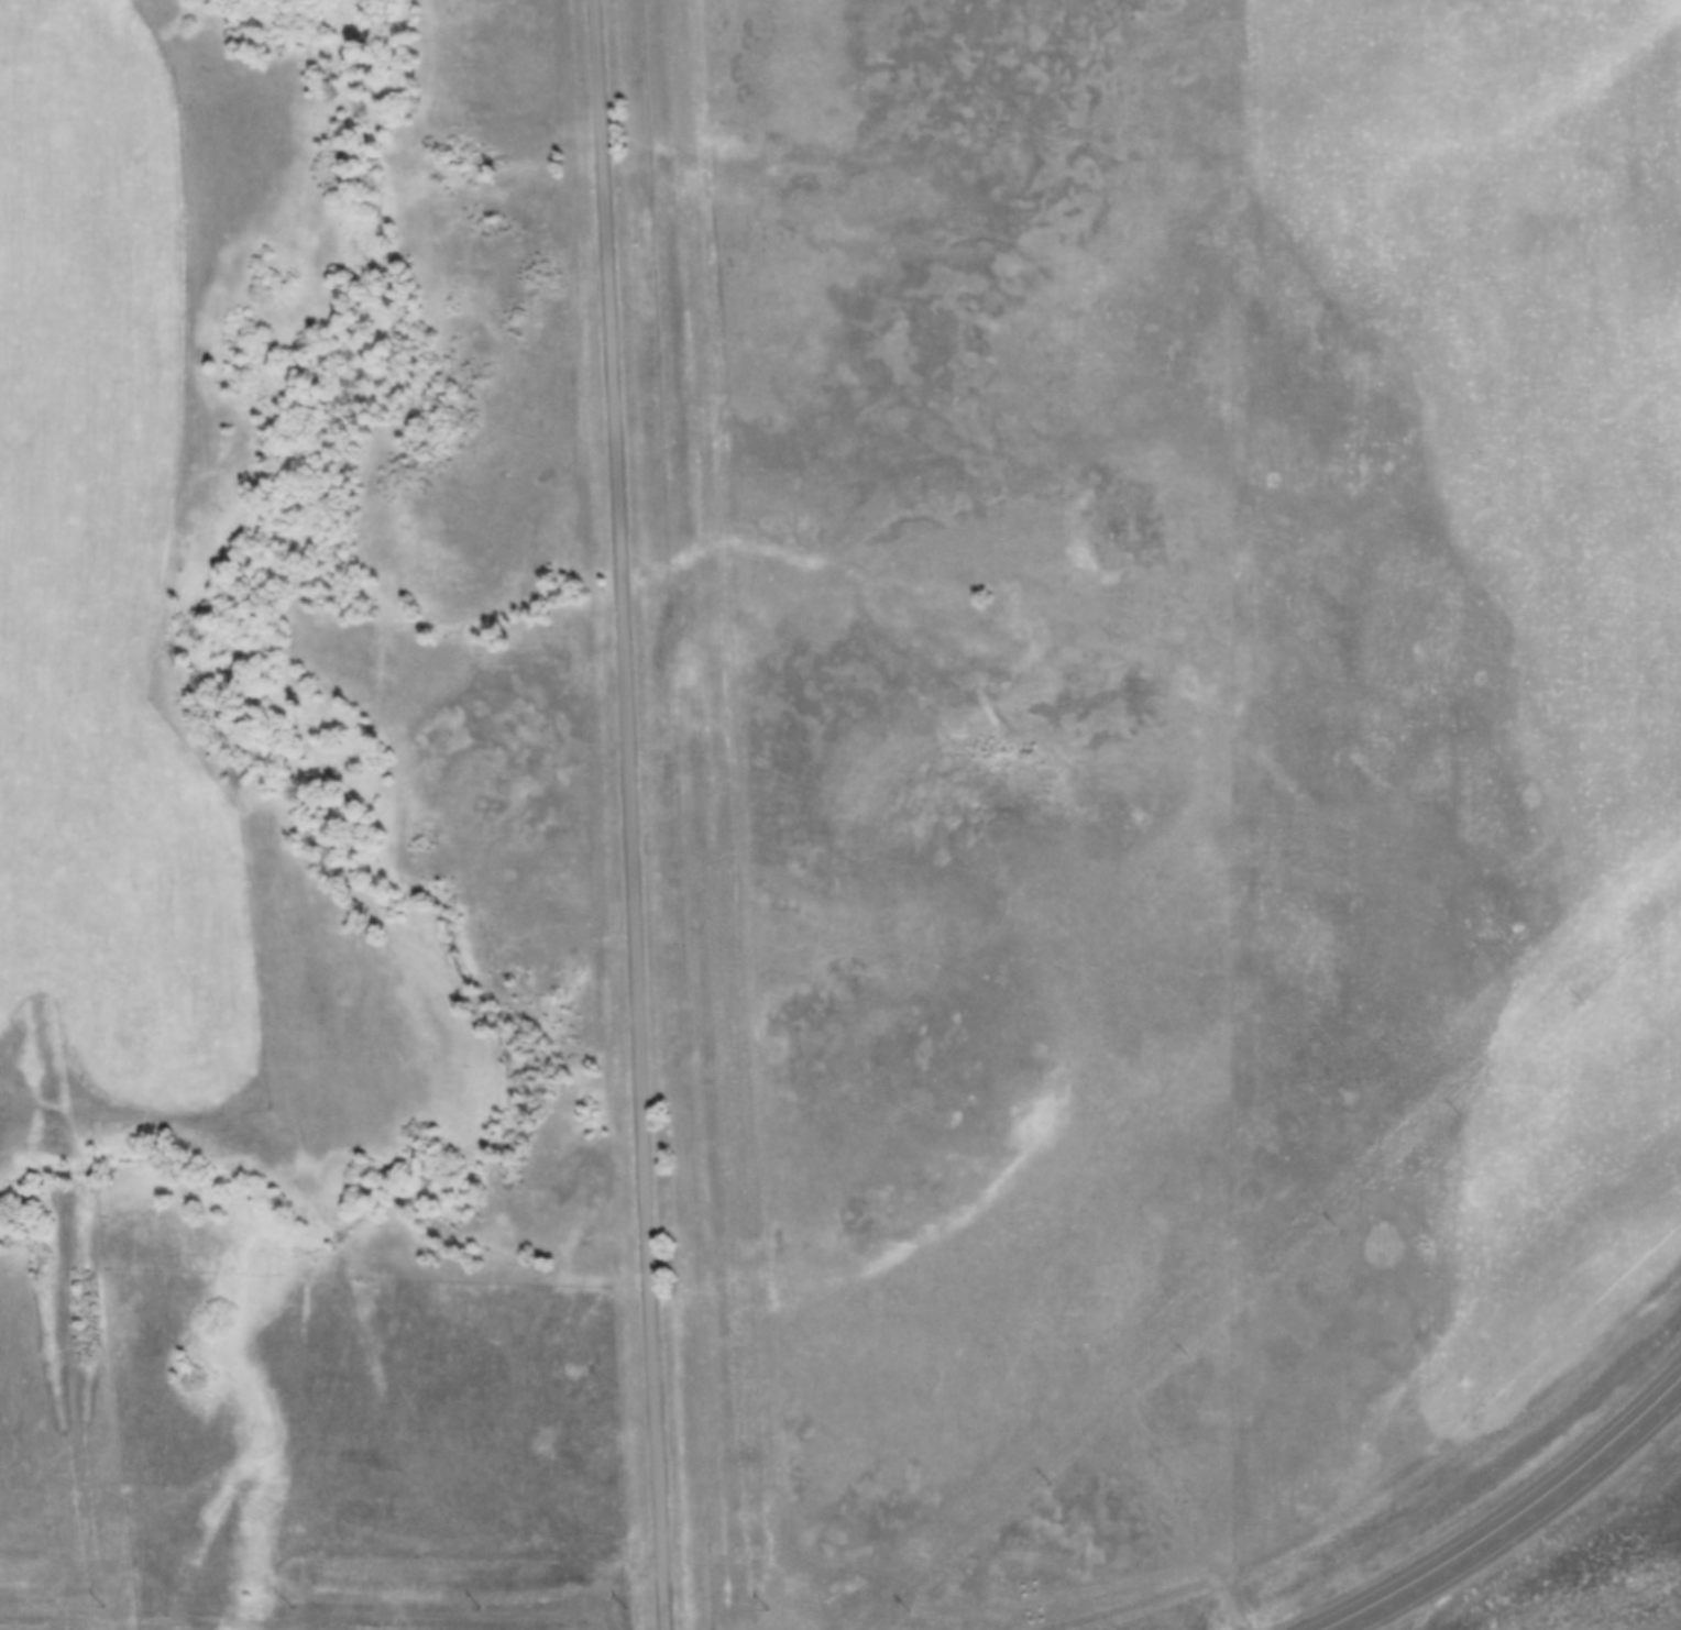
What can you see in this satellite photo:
road: (630, 815)
road: (1515, 1529)

